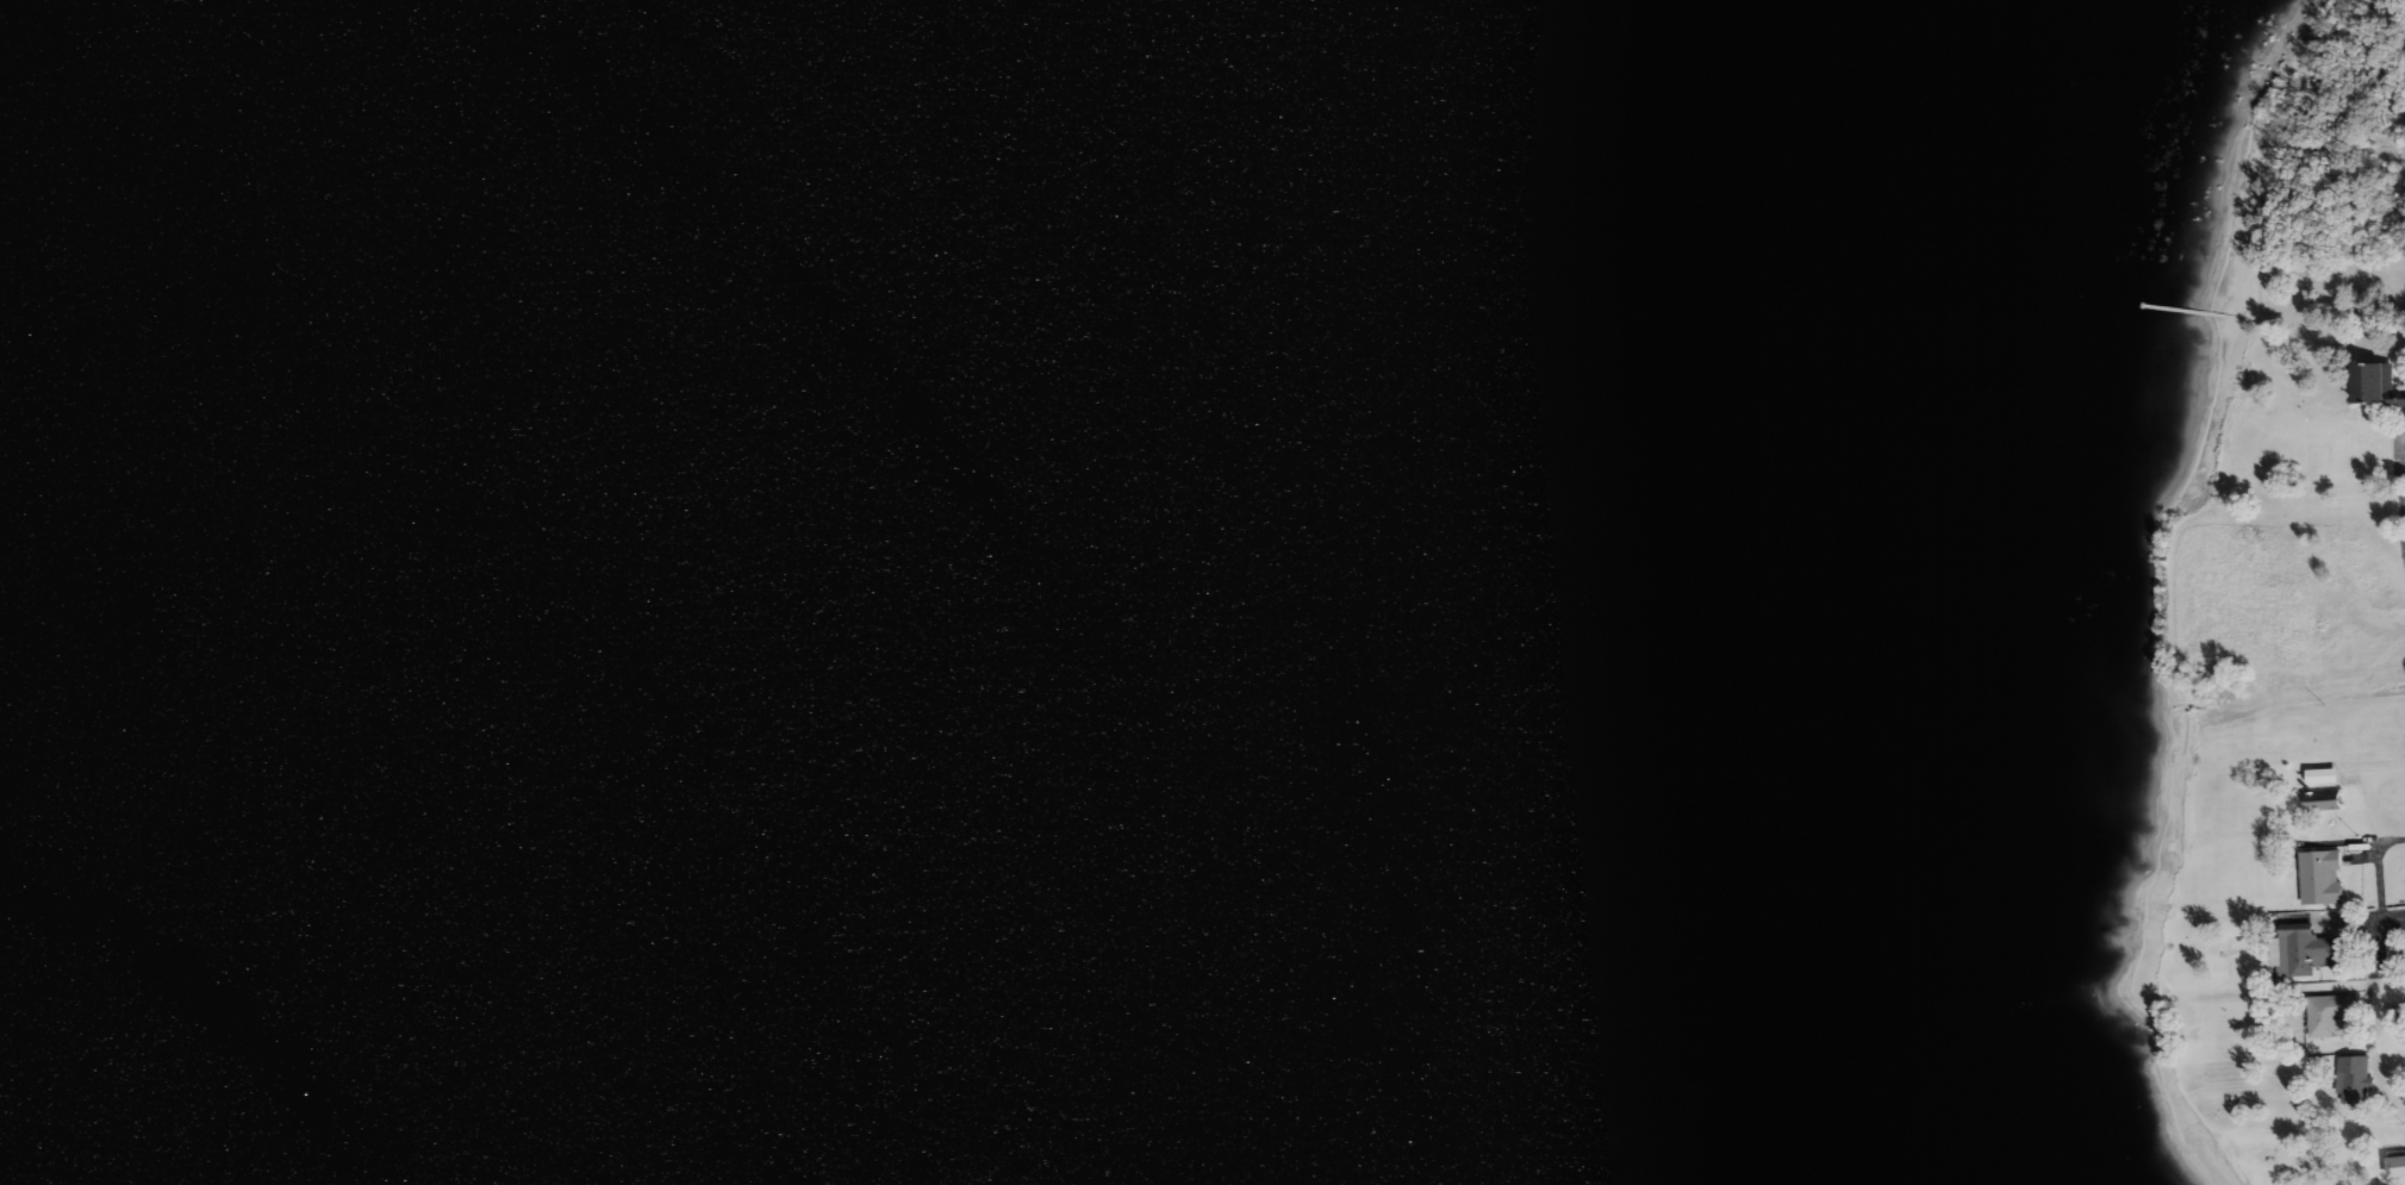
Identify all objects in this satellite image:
building: (2376, 386)
road: (2400, 503)
road: (2386, 777)
building: (2320, 791)
road: (2382, 842)
building: (2320, 877)
road: (2390, 917)
building: (2304, 950)
road: (2392, 988)
building: (2328, 1016)
building: (2292, 1021)
road: (2404, 1055)
building: (2353, 1080)
building: (2397, 1166)

